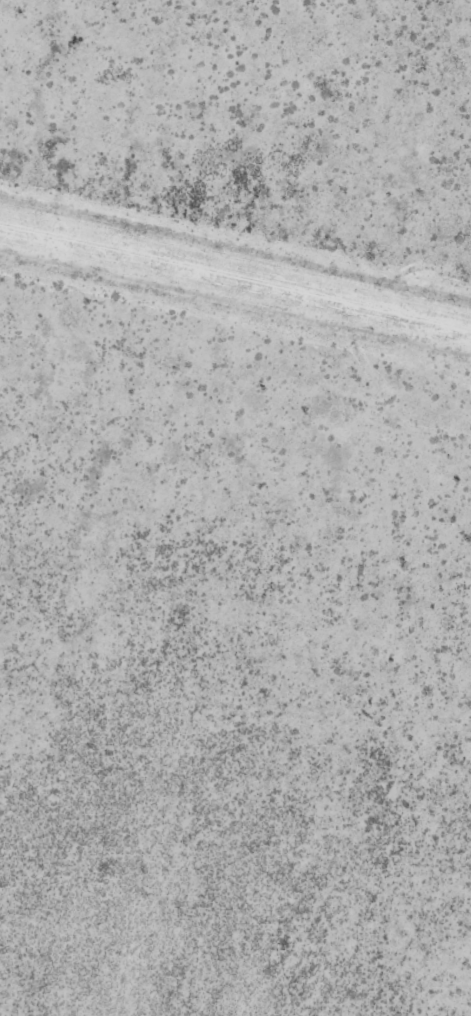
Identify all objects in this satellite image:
airport runway: (235, 275)

